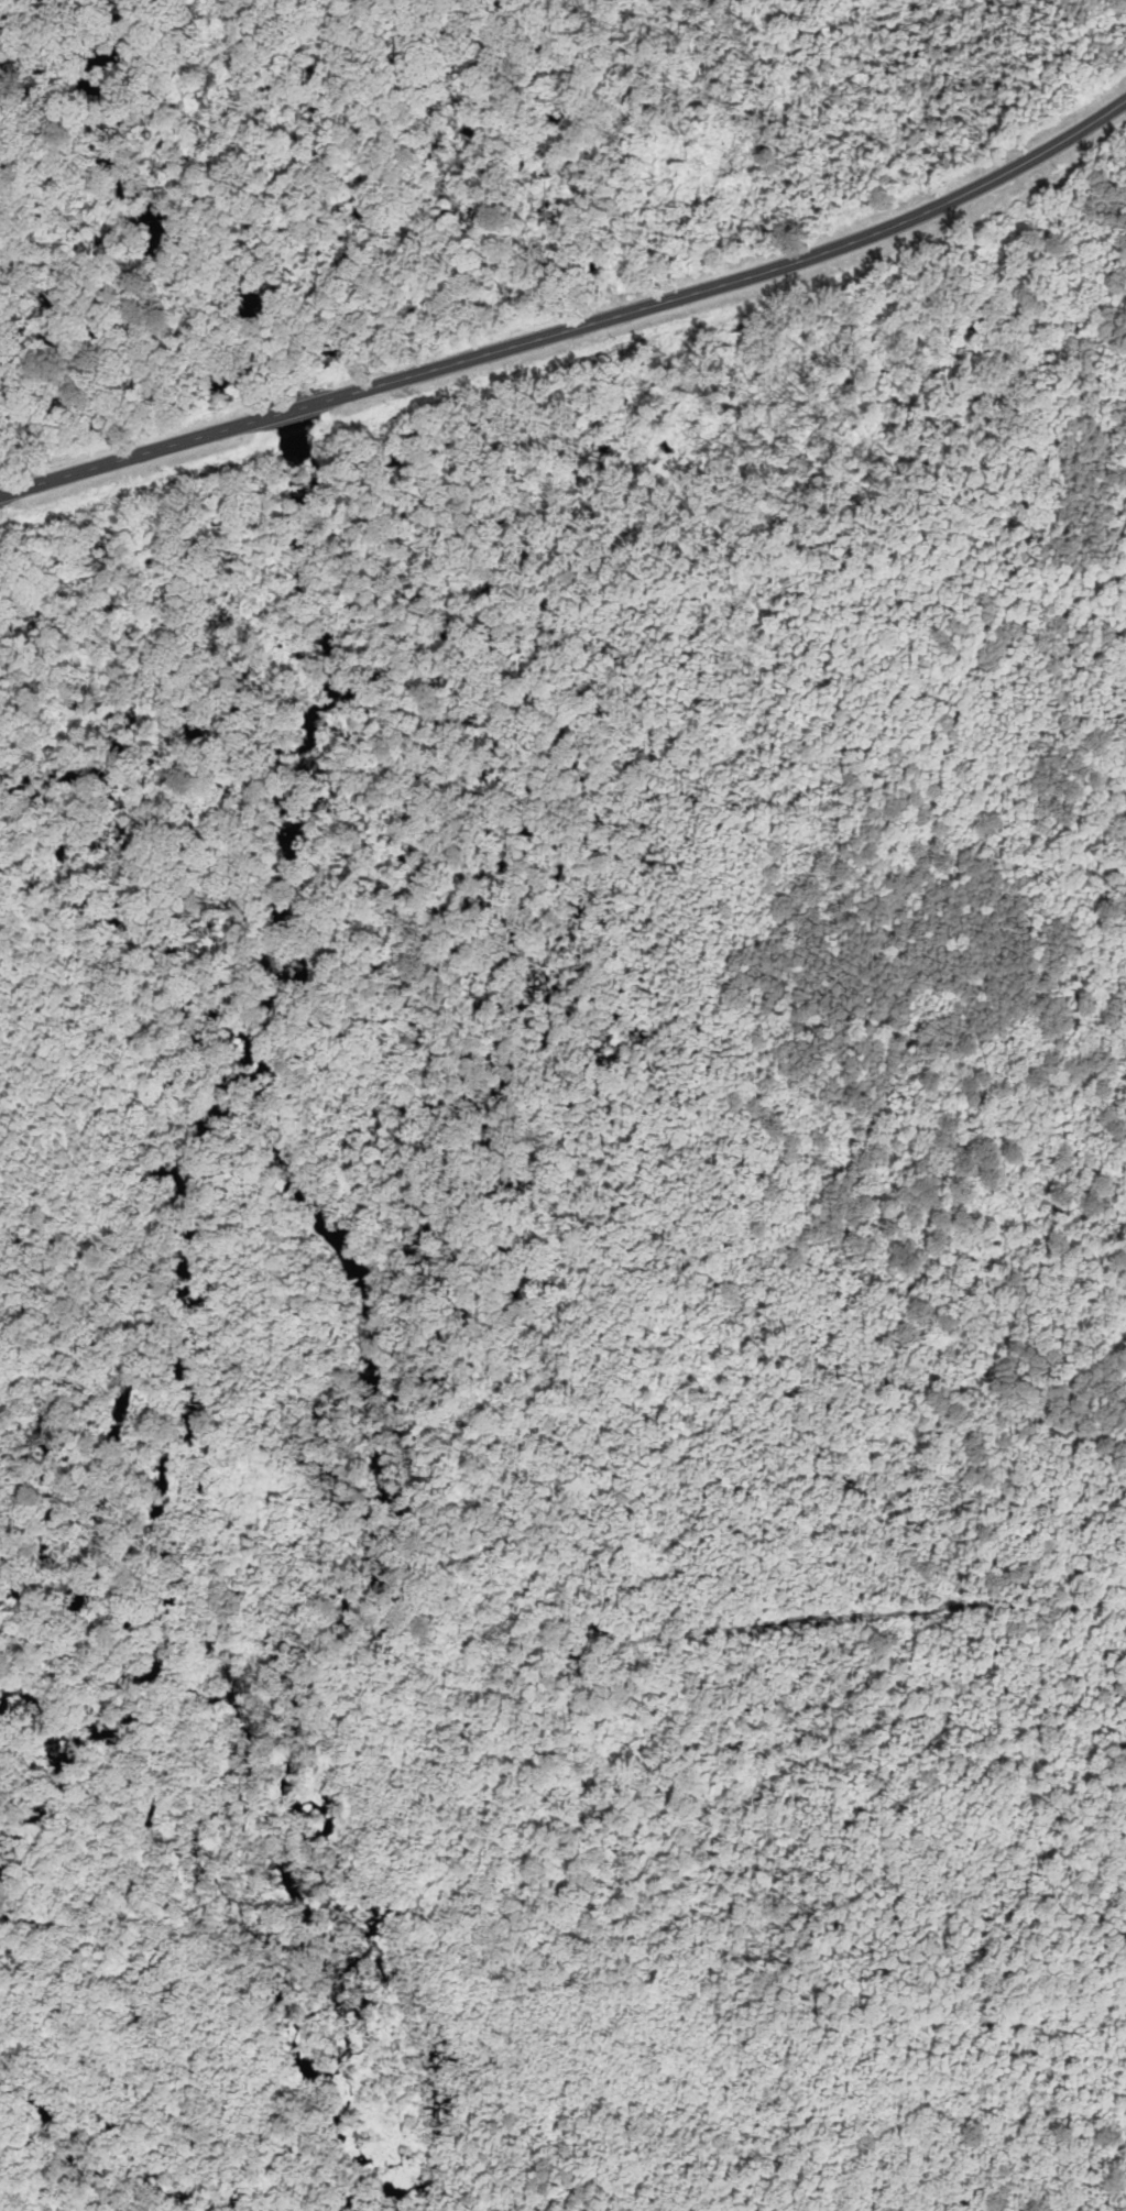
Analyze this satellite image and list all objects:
road: (740, 288)
road: (293, 413)
road: (132, 464)
road: (2, 493)
road: (1111, 1348)

